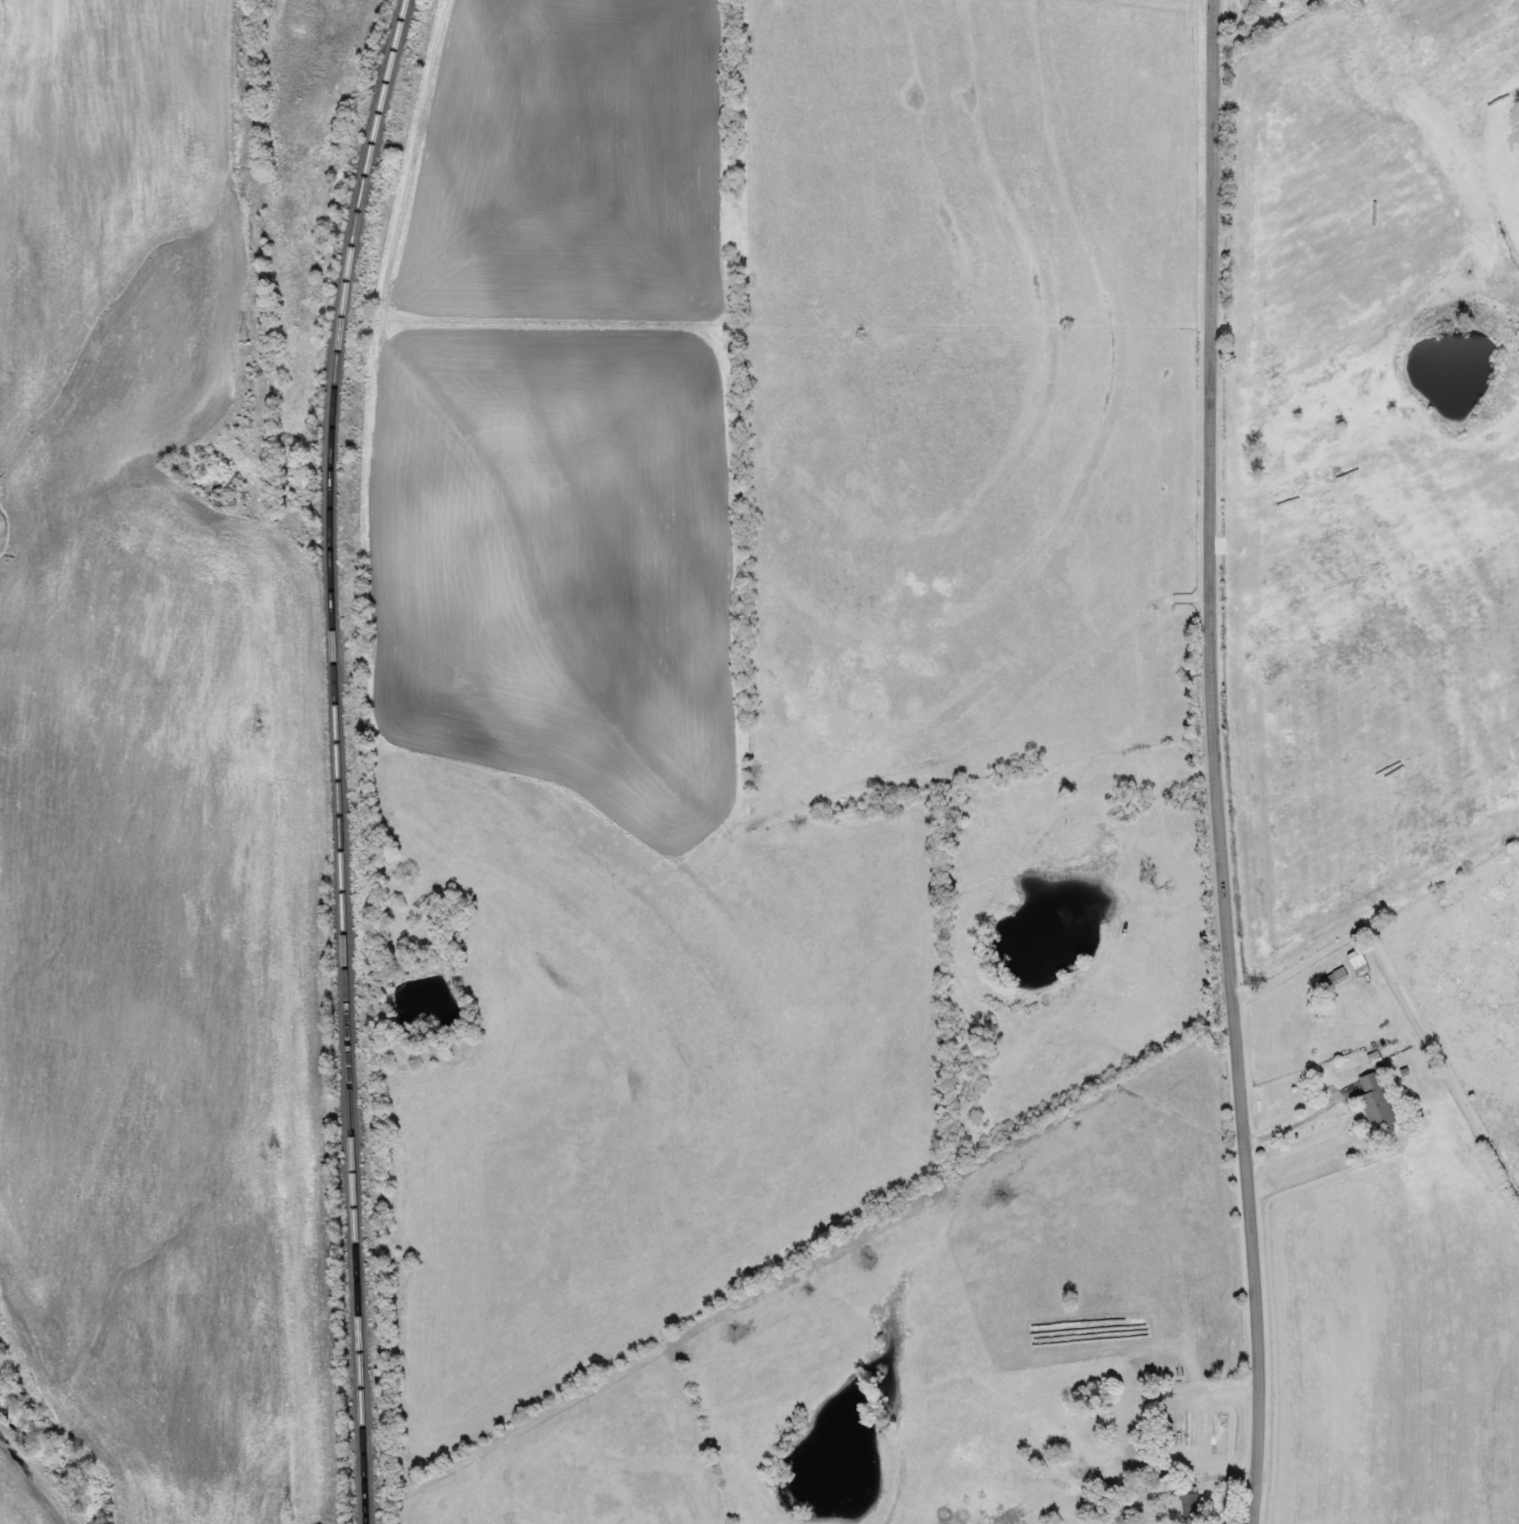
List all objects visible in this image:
power tower: (241, 338)
power tower: (260, 729)
railway: (335, 758)
road: (1213, 763)
building: (1357, 960)
building: (1334, 977)
building: (1377, 1103)
power tower: (274, 1151)
building: (1146, 1447)
building: (1192, 1501)
power tower: (285, 1512)
building: (1099, 1514)

